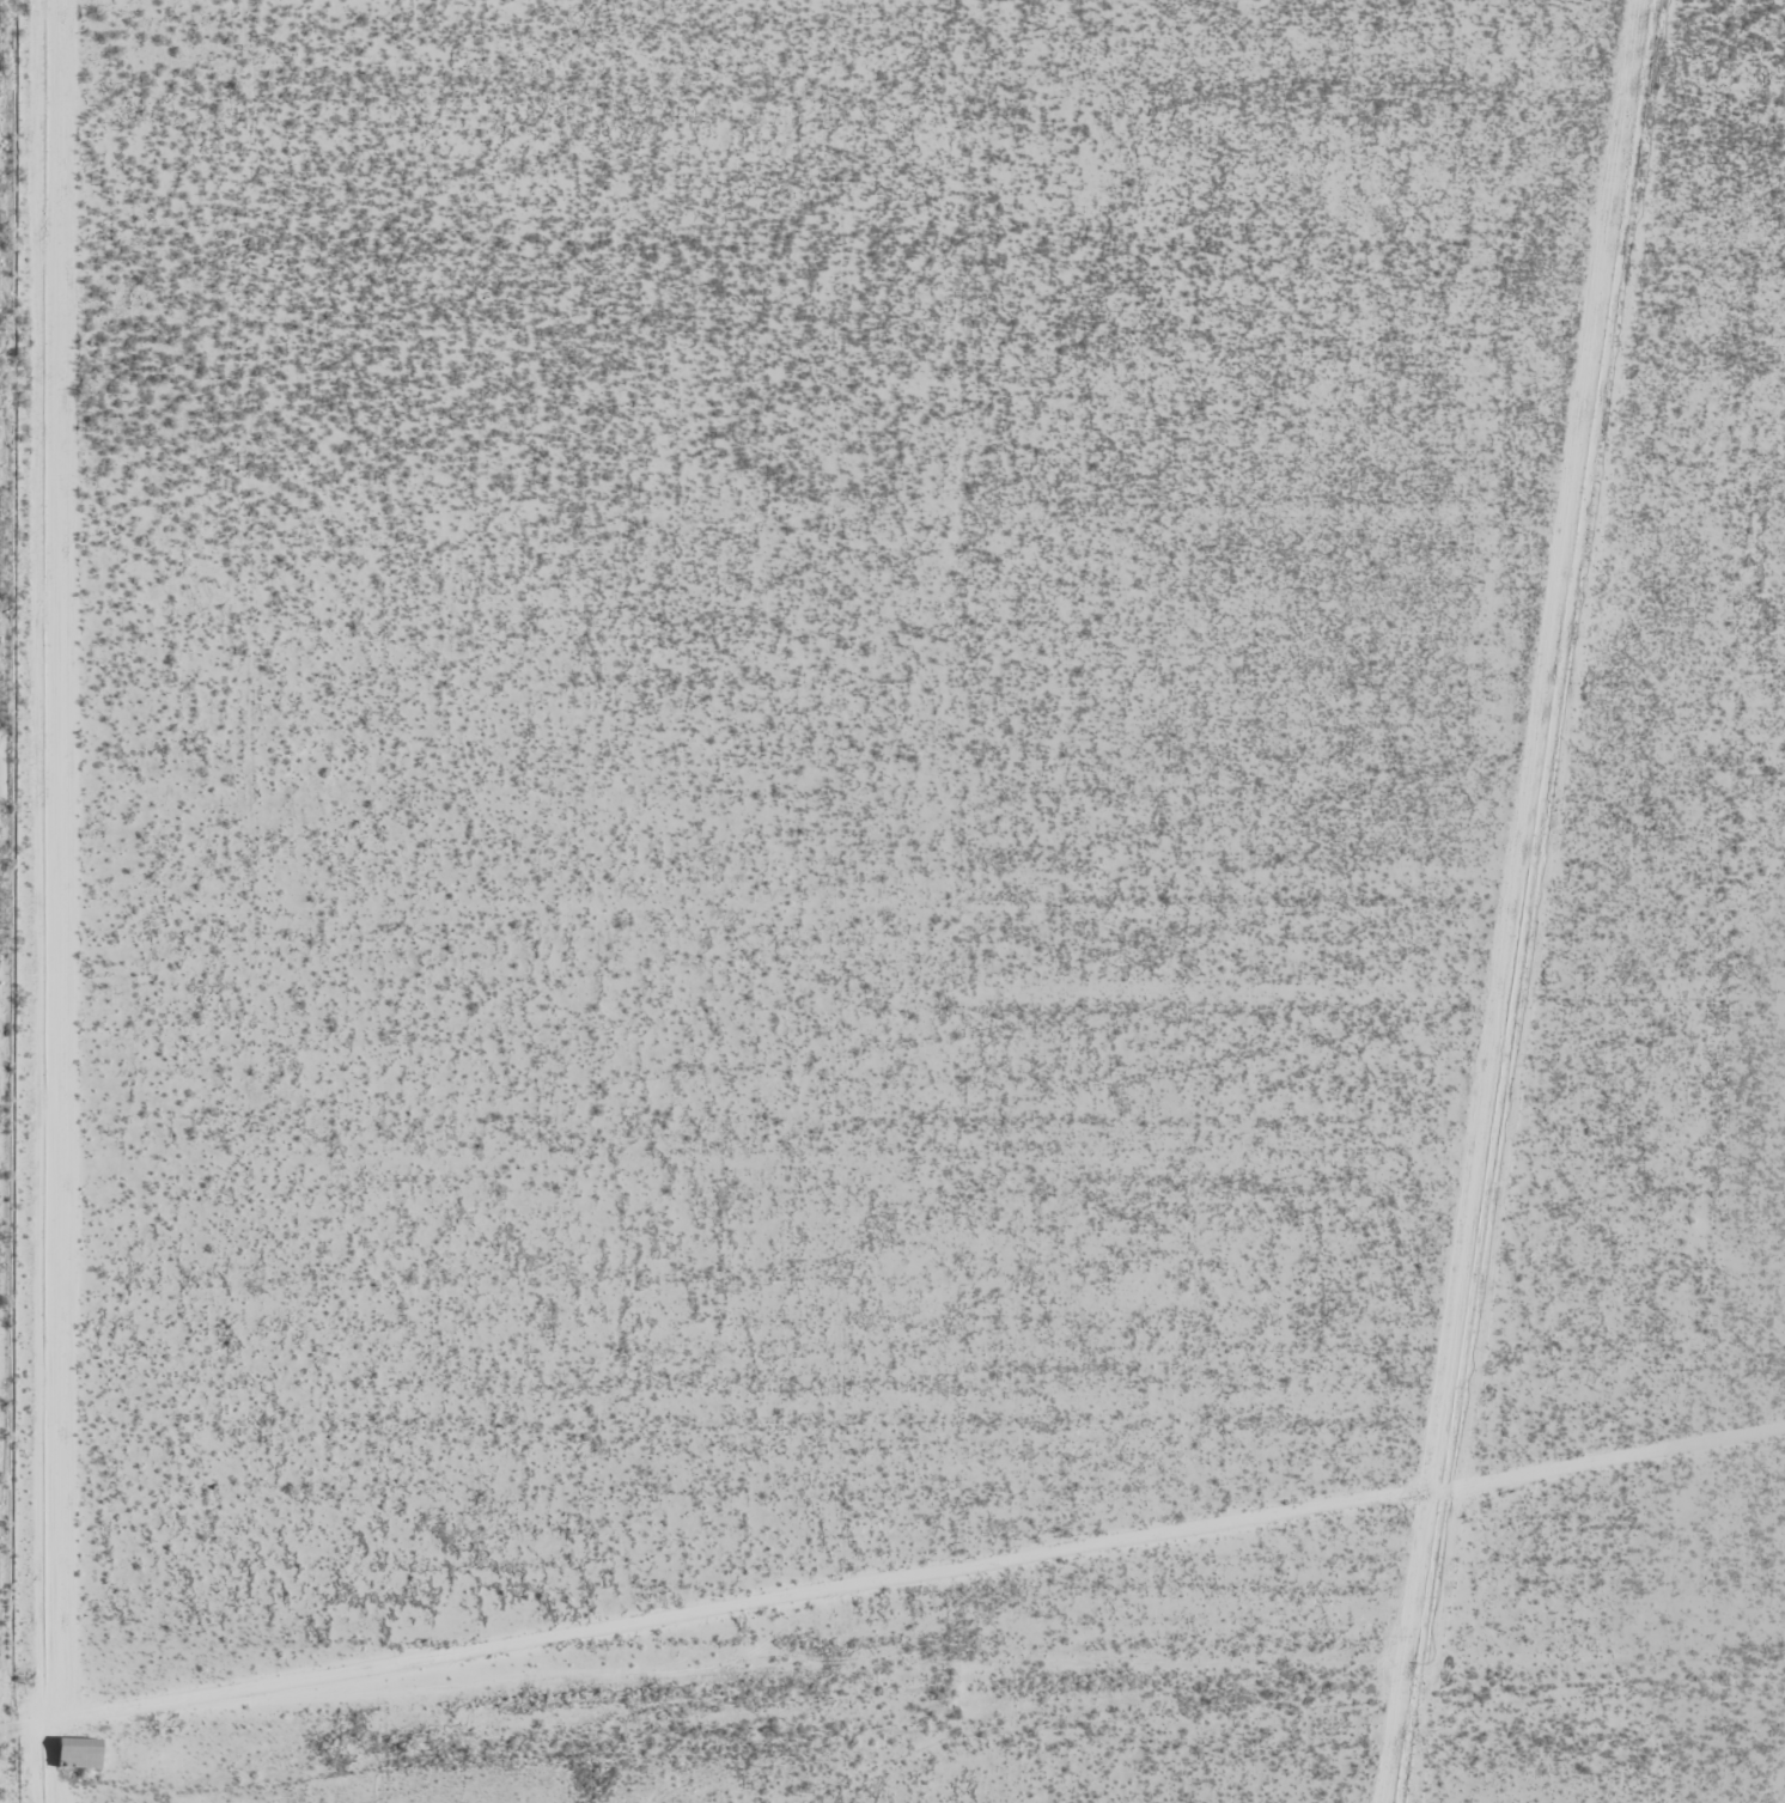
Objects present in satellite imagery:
road: (894, 1680)

